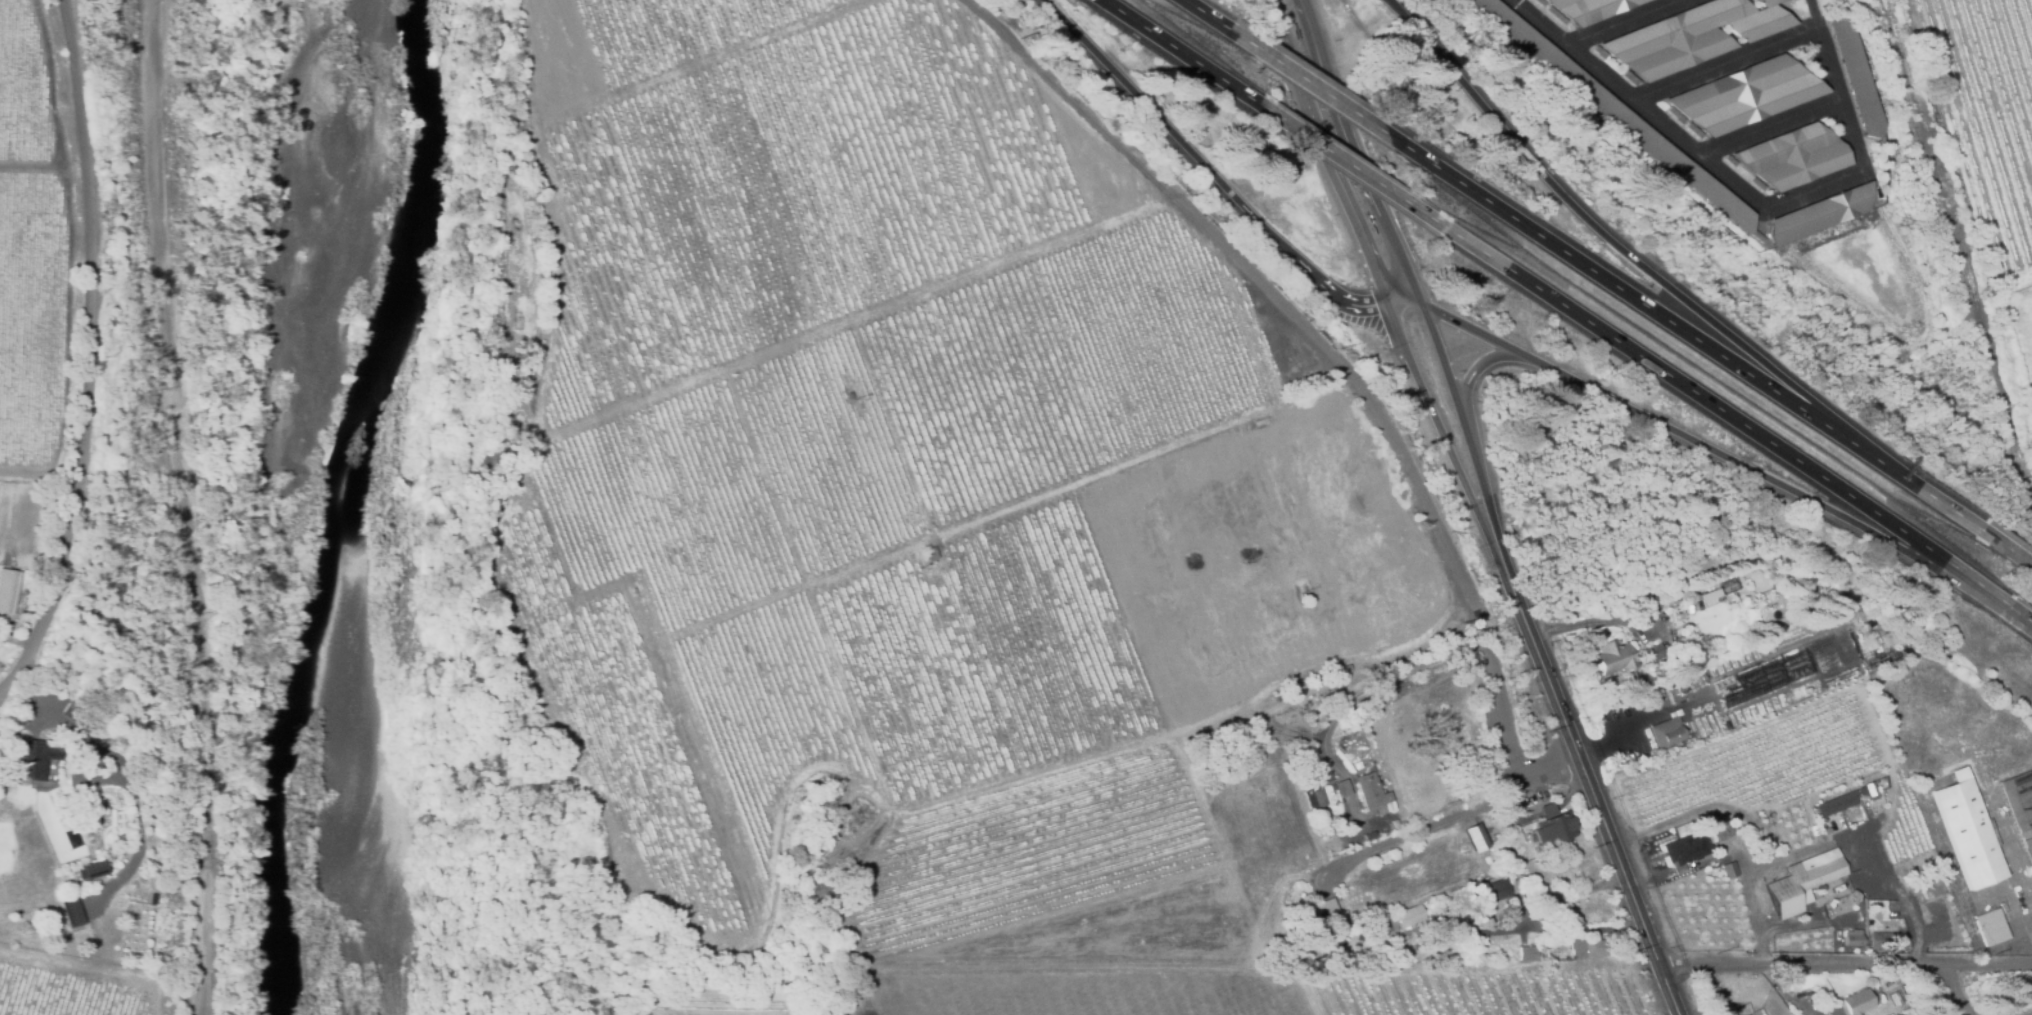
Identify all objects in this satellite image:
building: (1589, 8)
road: (1210, 16)
building: (1693, 35)
road: (1182, 54)
road: (1294, 61)
road: (1331, 69)
building: (1857, 75)
road: (1324, 90)
building: (1746, 94)
building: (1615, 111)
road: (1181, 141)
building: (1794, 155)
road: (1349, 165)
building: (543, 183)
road: (1739, 194)
building: (1818, 212)
road: (1394, 225)
road: (1602, 233)
railway: (1949, 254)
road: (1630, 294)
road: (1372, 306)
road: (1402, 346)
road: (1377, 350)
road: (88, 352)
road: (1485, 371)
road: (1721, 412)
road: (1470, 436)
road: (1720, 454)
road: (1922, 489)
road: (200, 505)
river: (319, 505)
river: (334, 505)
river: (363, 506)
road: (136, 510)
road: (2014, 550)
building: (931, 551)
building: (8, 589)
building: (24, 606)
road: (2020, 610)
building: (1751, 614)
building: (1839, 617)
building: (1831, 621)
building: (11, 623)
road: (1589, 623)
building: (1824, 625)
road: (1461, 650)
building: (1653, 656)
building: (1612, 658)
building: (1346, 670)
building: (1746, 682)
building: (75, 714)
building: (1666, 733)
building: (1313, 749)
building: (34, 761)
road: (1590, 789)
building: (1370, 790)
building: (1867, 791)
building: (1312, 799)
building: (1837, 804)
building: (2019, 808)
road: (1445, 823)
building: (1551, 828)
building: (1968, 834)
building: (1721, 835)
building: (1478, 838)
building: (1684, 852)
road: (1726, 856)
road: (1787, 858)
building: (94, 869)
road: (1682, 869)
road: (1763, 869)
building: (1728, 871)
road: (1653, 881)
building: (1802, 883)
building: (1930, 888)
building: (1499, 890)
building: (155, 897)
road: (1547, 902)
building: (1860, 902)
building: (72, 911)
building: (1320, 914)
building: (1403, 919)
road: (1761, 921)
building: (1990, 928)
building: (1891, 939)
building: (1855, 942)
building: (1588, 948)
building: (1527, 955)
building: (1404, 957)
road: (1844, 966)
building: (1901, 980)
road: (1958, 990)
building: (1860, 1001)
building: (1896, 1001)
building: (1746, 1009)
road: (2029, 1013)

